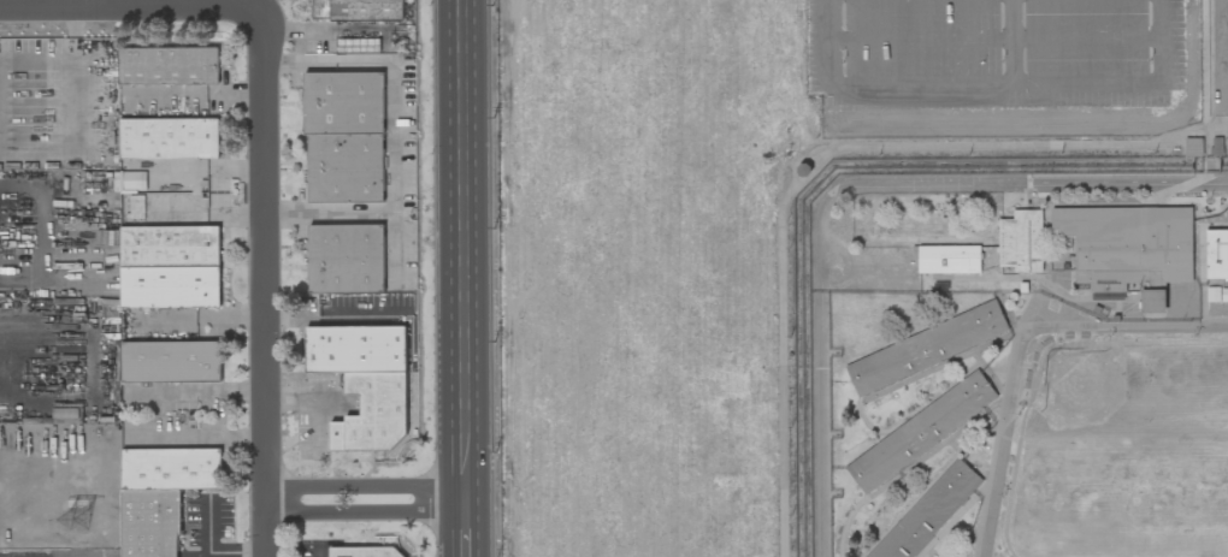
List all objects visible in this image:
road: (258, 5)
building: (356, 10)
road: (126, 11)
road: (997, 37)
building: (358, 45)
parking lot: (993, 54)
road: (59, 61)
building: (167, 66)
parking lot: (1214, 76)
road: (1130, 84)
road: (921, 85)
road: (390, 115)
building: (344, 136)
building: (167, 138)
building: (1192, 147)
building: (805, 168)
building: (159, 170)
road: (799, 179)
building: (134, 192)
road: (365, 211)
building: (1022, 242)
building: (1127, 245)
road: (464, 251)
building: (1217, 254)
building: (346, 259)
building: (949, 260)
building: (169, 267)
road: (435, 278)
road: (489, 278)
road: (259, 283)
building: (1106, 296)
road: (329, 310)
building: (926, 348)
building: (170, 361)
building: (364, 383)
road: (197, 393)
building: (922, 432)
road: (199, 434)
building: (160, 494)
road: (364, 503)
building: (928, 514)
power tower: (84, 516)
road: (464, 529)
road: (212, 552)
building: (367, 552)
road: (325, 555)

